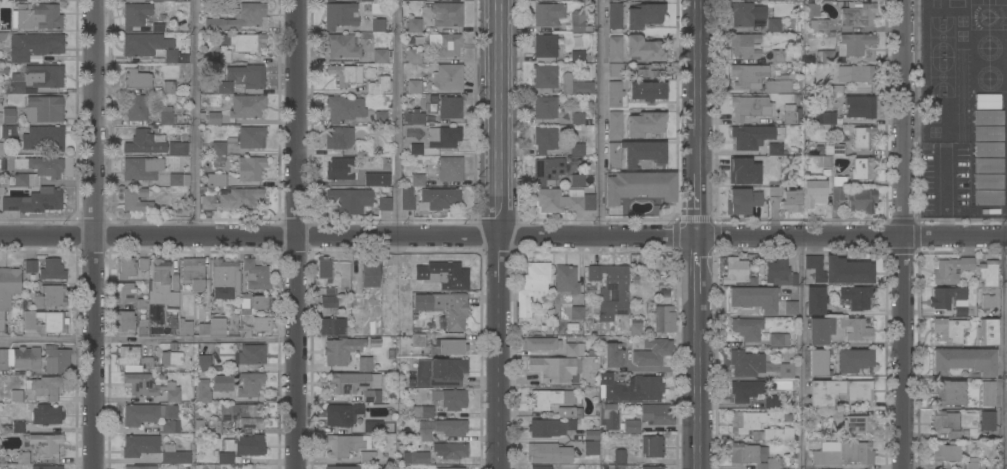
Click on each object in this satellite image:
building: (19, 0)
building: (167, 0)
building: (370, 0)
building: (401, 0)
building: (454, 0)
building: (577, 0)
building: (775, 0)
building: (825, 0)
building: (330, 1)
building: (408, 1)
building: (812, 10)
building: (745, 13)
building: (856, 13)
building: (447, 14)
building: (547, 14)
building: (136, 15)
building: (340, 15)
building: (643, 15)
building: (37, 16)
building: (614, 16)
building: (238, 18)
building: (578, 22)
building: (377, 25)
building: (411, 25)
building: (773, 25)
building: (818, 25)
building: (157, 27)
building: (244, 42)
building: (144, 44)
building: (445, 44)
building: (853, 44)
building: (343, 45)
building: (744, 45)
building: (34, 46)
building: (545, 46)
building: (614, 49)
building: (643, 49)
building: (414, 55)
building: (175, 56)
building: (224, 56)
building: (382, 56)
building: (578, 56)
building: (777, 56)
building: (825, 56)
building: (615, 70)
building: (648, 70)
building: (346, 74)
building: (856, 74)
building: (44, 75)
building: (746, 75)
building: (246, 76)
building: (545, 76)
building: (447, 77)
building: (137, 78)
building: (16, 83)
building: (378, 85)
building: (574, 85)
building: (778, 86)
building: (168, 87)
building: (222, 87)
building: (414, 87)
building: (839, 89)
building: (647, 90)
building: (614, 93)
road: (699, 93)
building: (987, 101)
building: (134, 106)
building: (246, 106)
building: (449, 107)
building: (545, 107)
building: (749, 107)
building: (859, 107)
building: (344, 108)
building: (43, 109)
building: (790, 114)
building: (8, 115)
building: (165, 115)
building: (380, 117)
building: (417, 117)
building: (987, 117)
building: (213, 118)
building: (577, 118)
road: (601, 118)
building: (824, 118)
road: (904, 118)
road: (195, 119)
road: (396, 119)
building: (644, 123)
building: (614, 124)
building: (7, 132)
building: (987, 133)
building: (750, 136)
building: (42, 137)
building: (248, 137)
building: (338, 137)
building: (443, 137)
building: (862, 138)
building: (545, 139)
building: (143, 142)
building: (577, 145)
building: (177, 148)
building: (774, 148)
building: (363, 149)
building: (415, 149)
building: (987, 149)
building: (838, 150)
building: (218, 151)
building: (635, 153)
building: (824, 161)
building: (987, 165)
building: (141, 168)
building: (250, 168)
building: (338, 169)
building: (450, 169)
building: (547, 169)
building: (862, 169)
building: (36, 170)
building: (743, 171)
building: (178, 179)
building: (377, 179)
building: (214, 180)
building: (417, 180)
building: (577, 180)
building: (838, 181)
building: (987, 181)
building: (639, 186)
road: (943, 192)
building: (774, 193)
building: (813, 193)
building: (837, 193)
building: (987, 197)
building: (407, 198)
building: (440, 198)
building: (234, 199)
building: (35, 200)
building: (136, 200)
building: (349, 200)
building: (562, 200)
building: (790, 200)
building: (860, 200)
building: (385, 201)
building: (737, 201)
road: (699, 212)
road: (95, 234)
road: (297, 234)
road: (500, 234)
road: (503, 237)
building: (1006, 259)
road: (699, 261)
building: (143, 264)
building: (29, 266)
building: (125, 267)
building: (324, 268)
building: (51, 269)
building: (838, 269)
building: (951, 269)
building: (734, 270)
building: (427, 272)
building: (987, 272)
building: (779, 273)
building: (191, 275)
building: (256, 275)
building: (369, 275)
building: (224, 279)
building: (634, 279)
building: (161, 285)
building: (532, 287)
building: (8, 288)
building: (567, 291)
building: (124, 292)
building: (603, 295)
building: (50, 296)
building: (856, 296)
building: (753, 298)
building: (948, 299)
building: (815, 300)
building: (328, 301)
building: (986, 301)
building: (253, 303)
building: (356, 303)
building: (142, 304)
building: (445, 307)
building: (790, 307)
building: (664, 318)
building: (124, 320)
building: (44, 321)
building: (261, 324)
building: (332, 326)
building: (572, 326)
building: (184, 327)
building: (213, 327)
building: (635, 327)
building: (142, 328)
building: (746, 328)
building: (855, 329)
building: (819, 330)
building: (949, 330)
building: (986, 332)
road: (148, 338)
building: (417, 339)
building: (783, 340)
building: (374, 343)
building: (539, 343)
building: (448, 346)
building: (340, 350)
building: (571, 350)
building: (652, 352)
road: (801, 353)
road: (905, 353)
road: (1002, 353)
building: (612, 354)
building: (127, 355)
building: (249, 355)
building: (19, 358)
building: (170, 358)
building: (853, 359)
building: (56, 360)
building: (964, 360)
building: (203, 362)
building: (818, 362)
building: (146, 363)
building: (745, 363)
building: (364, 364)
building: (553, 368)
building: (786, 370)
building: (440, 372)
road: (699, 377)
building: (222, 383)
building: (249, 384)
building: (356, 384)
building: (44, 386)
building: (150, 387)
building: (630, 387)
building: (203, 390)
building: (745, 390)
building: (838, 391)
building: (947, 392)
building: (986, 393)
building: (16, 395)
building: (449, 398)
building: (551, 398)
building: (771, 401)
building: (422, 411)
building: (566, 412)
building: (578, 413)
building: (142, 414)
building: (341, 414)
building: (655, 414)
building: (46, 415)
building: (245, 415)
building: (835, 417)
building: (616, 420)
building: (987, 420)
building: (745, 421)
building: (945, 423)
building: (857, 424)
building: (169, 426)
building: (214, 426)
building: (372, 426)
building: (15, 427)
building: (450, 427)
building: (547, 427)
building: (590, 434)
building: (773, 434)
building: (424, 435)
building: (45, 444)
building: (344, 444)
building: (140, 445)
building: (245, 445)
building: (651, 446)
building: (590, 447)
building: (450, 450)
building: (945, 452)
building: (548, 453)
building: (842, 453)
building: (174, 455)
building: (366, 456)
building: (619, 456)
building: (752, 456)
building: (22, 457)
building: (225, 458)
building: (418, 458)
building: (45, 467)
building: (140, 467)
building: (341, 467)
building: (540, 467)
building: (651, 467)
building: (449, 468)

